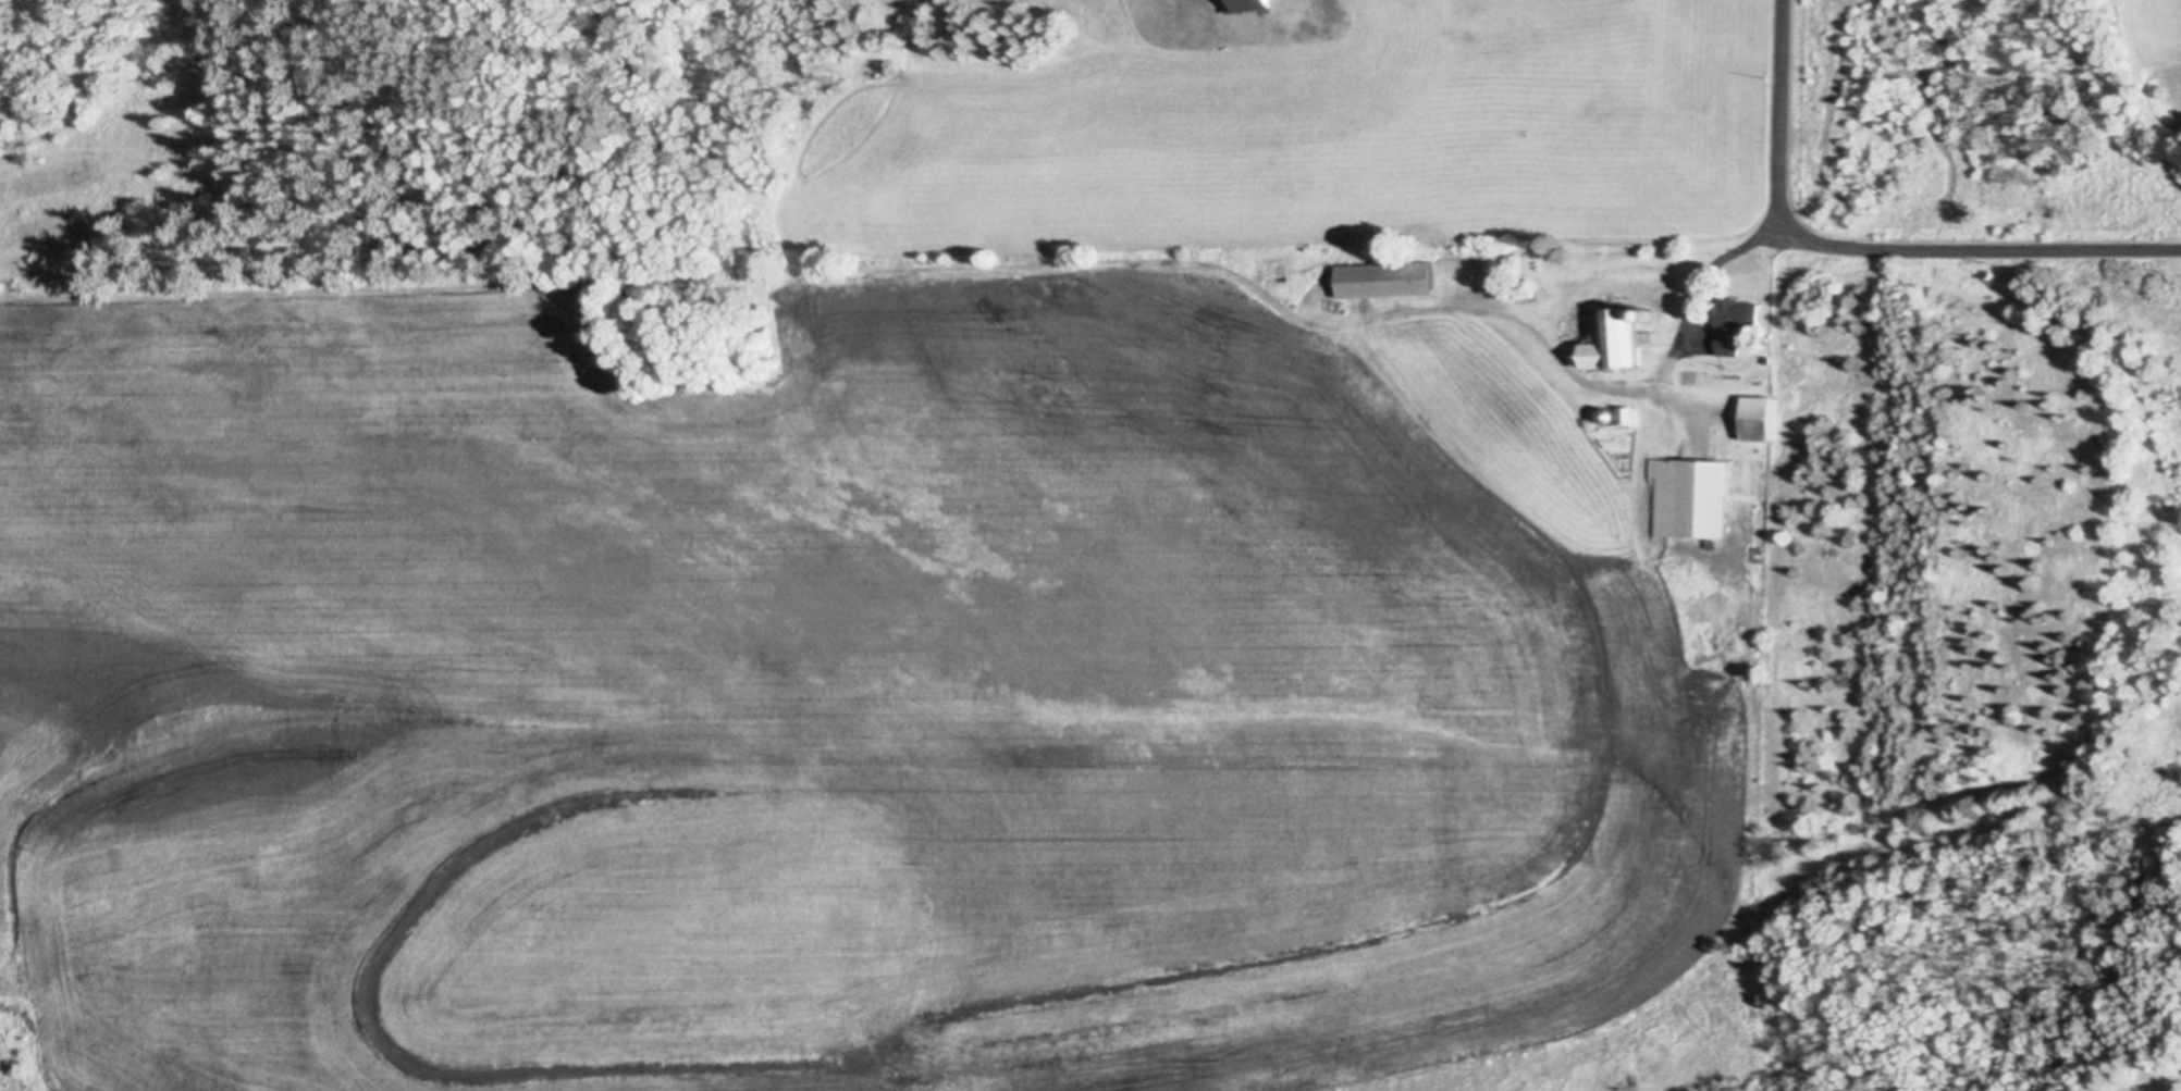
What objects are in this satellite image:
road: (1866, 250)
road: (961, 273)

